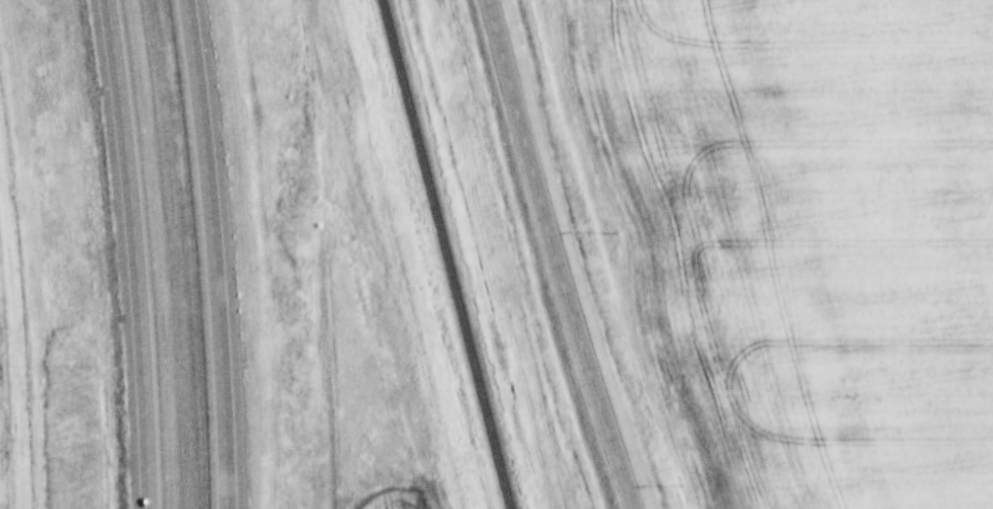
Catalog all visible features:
crop: (803, 237)
road: (138, 253)
road: (215, 253)
railway: (448, 254)
road: (557, 255)
crop: (14, 326)
crop: (393, 495)

